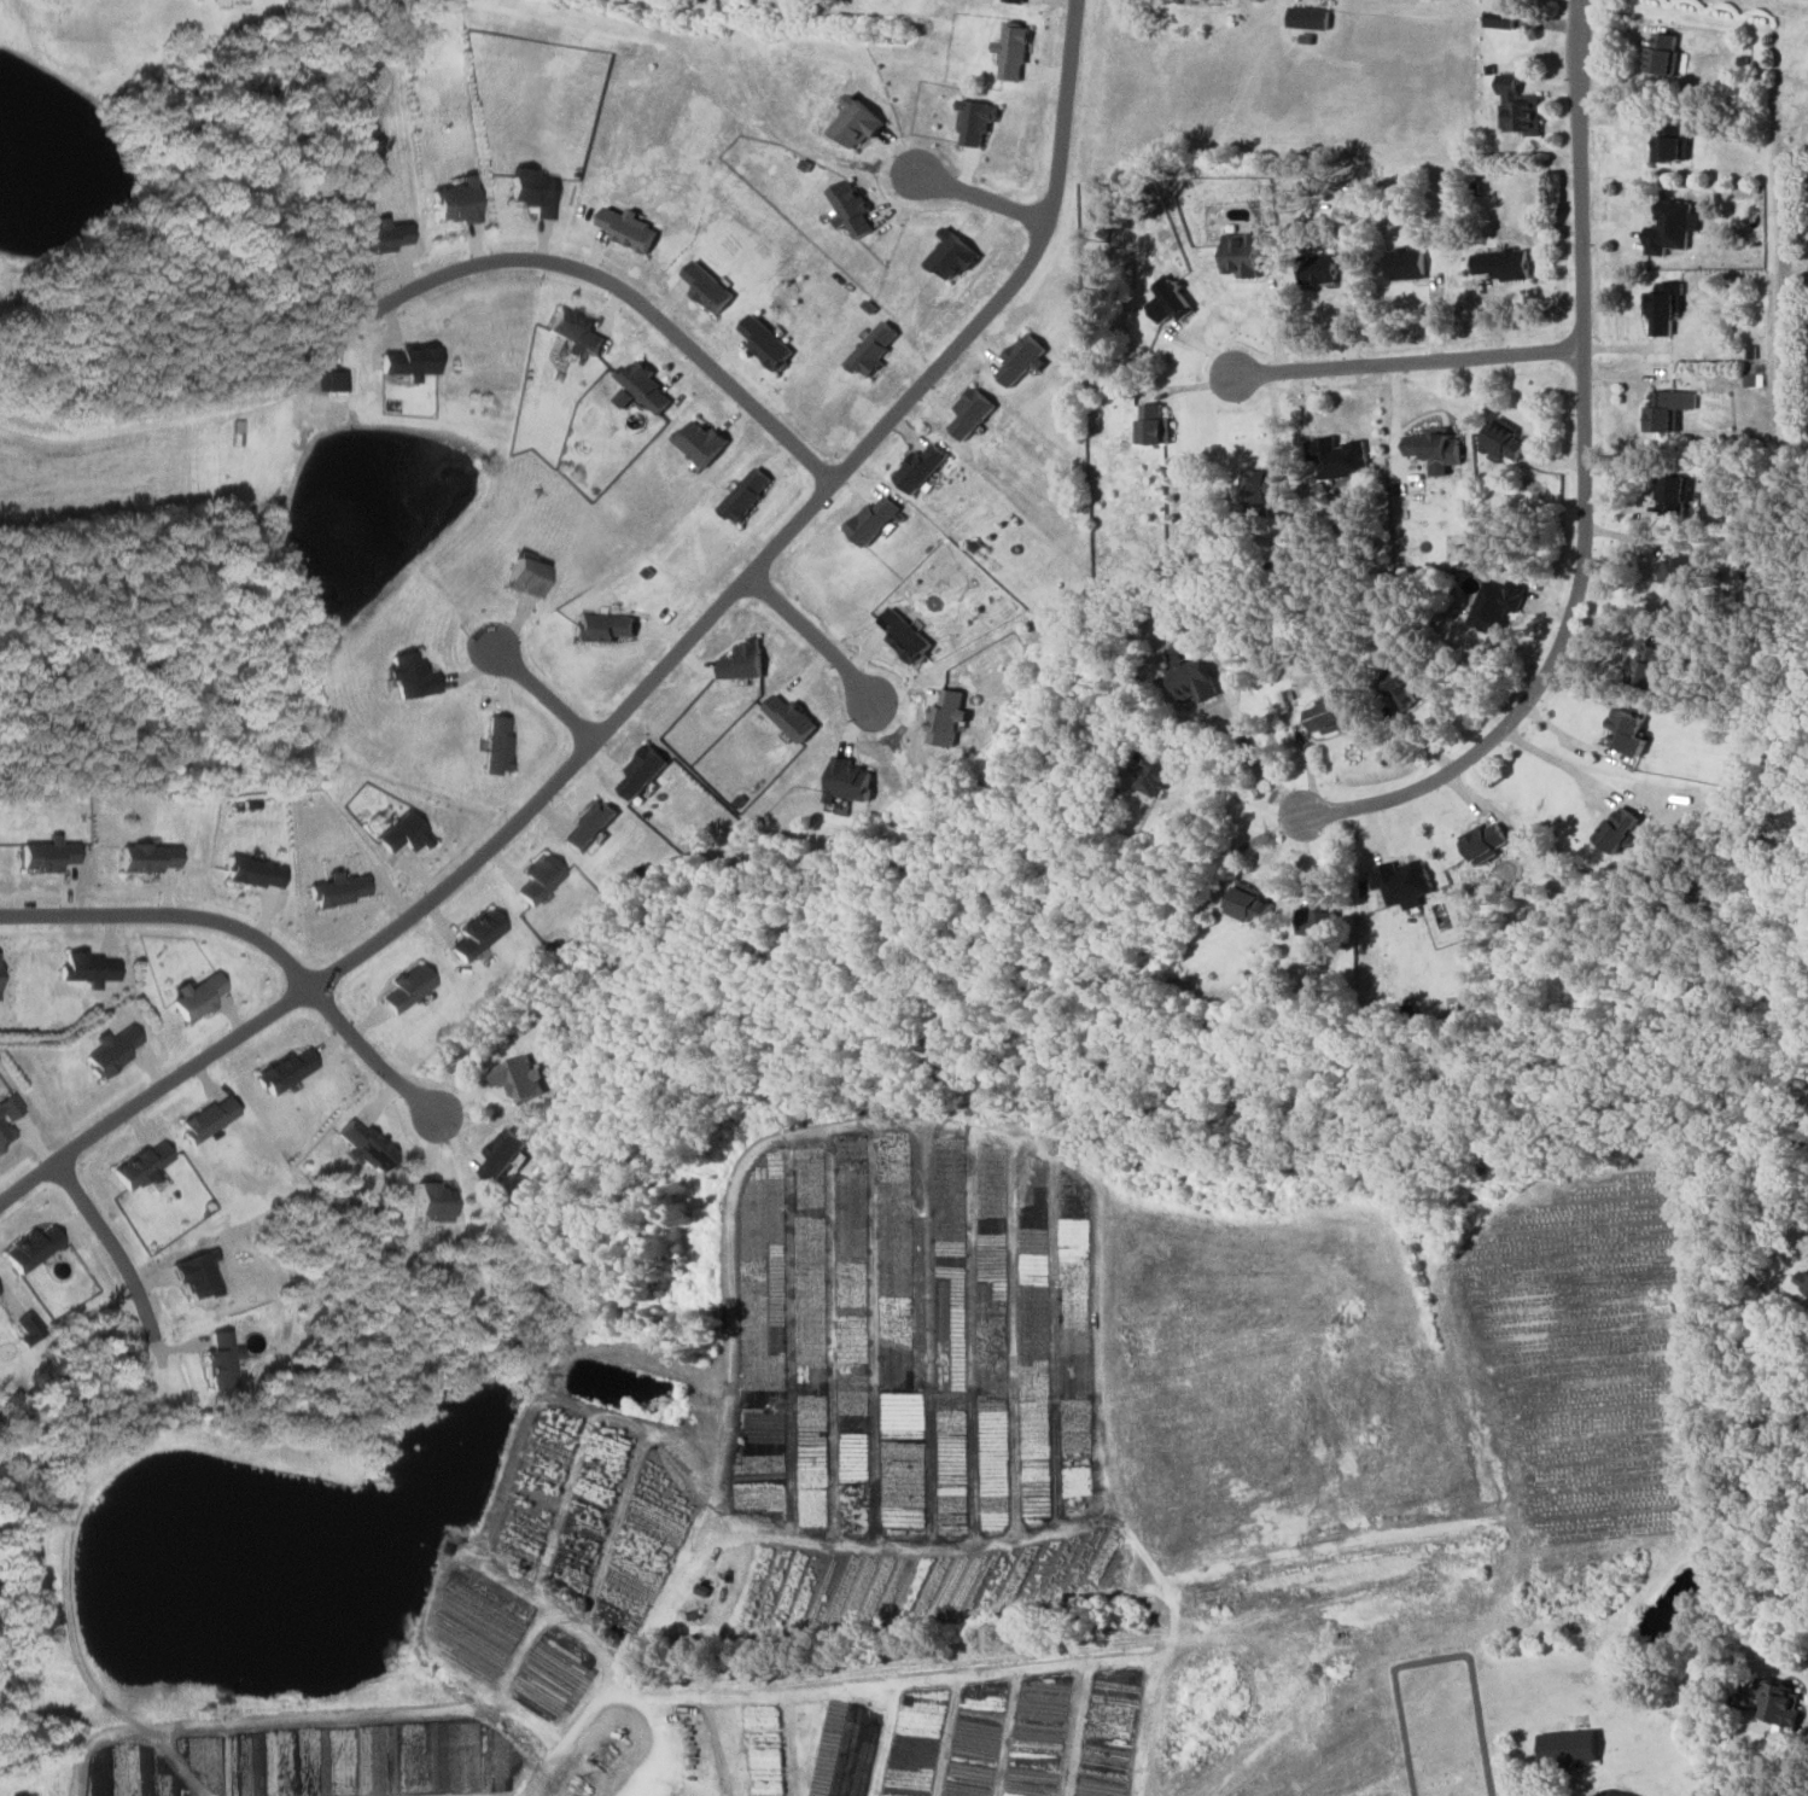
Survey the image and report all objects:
building: (1014, 0)
building: (1307, 18)
building: (1498, 18)
building: (1011, 49)
building: (1661, 54)
building: (1518, 106)
building: (975, 121)
building: (855, 123)
building: (1669, 141)
building: (532, 192)
building: (455, 202)
road: (979, 202)
building: (848, 208)
building: (1668, 227)
building: (625, 228)
building: (377, 237)
building: (1240, 253)
building: (950, 256)
building: (1405, 263)
building: (1501, 264)
building: (1317, 269)
building: (705, 286)
road: (617, 291)
building: (1167, 299)
building: (1663, 307)
road: (1278, 316)
building: (573, 331)
building: (763, 342)
building: (870, 350)
building: (1020, 358)
building: (410, 362)
road: (1406, 362)
building: (331, 381)
building: (642, 386)
building: (623, 398)
building: (1667, 409)
building: (969, 413)
building: (1150, 425)
building: (1503, 439)
building: (698, 441)
building: (1433, 450)
building: (1337, 457)
building: (917, 468)
road: (1582, 485)
building: (1260, 491)
building: (743, 495)
building: (1673, 495)
building: (870, 520)
building: (1676, 566)
building: (523, 576)
building: (1495, 605)
building: (602, 628)
building: (903, 636)
road: (810, 638)
building: (741, 661)
building: (1651, 666)
building: (409, 676)
building: (1191, 681)
road: (647, 682)
building: (1398, 687)
road: (542, 693)
building: (1329, 715)
building: (788, 717)
building: (944, 718)
building: (1626, 733)
building: (497, 745)
road: (1260, 747)
road: (1558, 764)
building: (640, 771)
building: (1154, 775)
building: (846, 781)
road: (1248, 799)
building: (587, 827)
building: (1616, 829)
building: (402, 834)
building: (1483, 844)
building: (46, 856)
building: (145, 858)
building: (253, 874)
building: (537, 880)
building: (1401, 884)
building: (338, 891)
building: (1247, 906)
road: (167, 917)
building: (1317, 927)
building: (476, 935)
building: (86, 969)
building: (407, 986)
building: (196, 996)
building: (111, 1049)
road: (368, 1054)
building: (284, 1069)
building: (518, 1077)
building: (7, 1118)
building: (208, 1118)
building: (363, 1144)
building: (501, 1151)
building: (140, 1165)
building: (431, 1199)
building: (30, 1248)
road: (112, 1250)
building: (196, 1273)
building: (25, 1326)
building: (221, 1359)
road: (897, 1672)
building: (1778, 1701)
road: (653, 1747)
building: (1567, 1748)
road: (1615, 1791)

